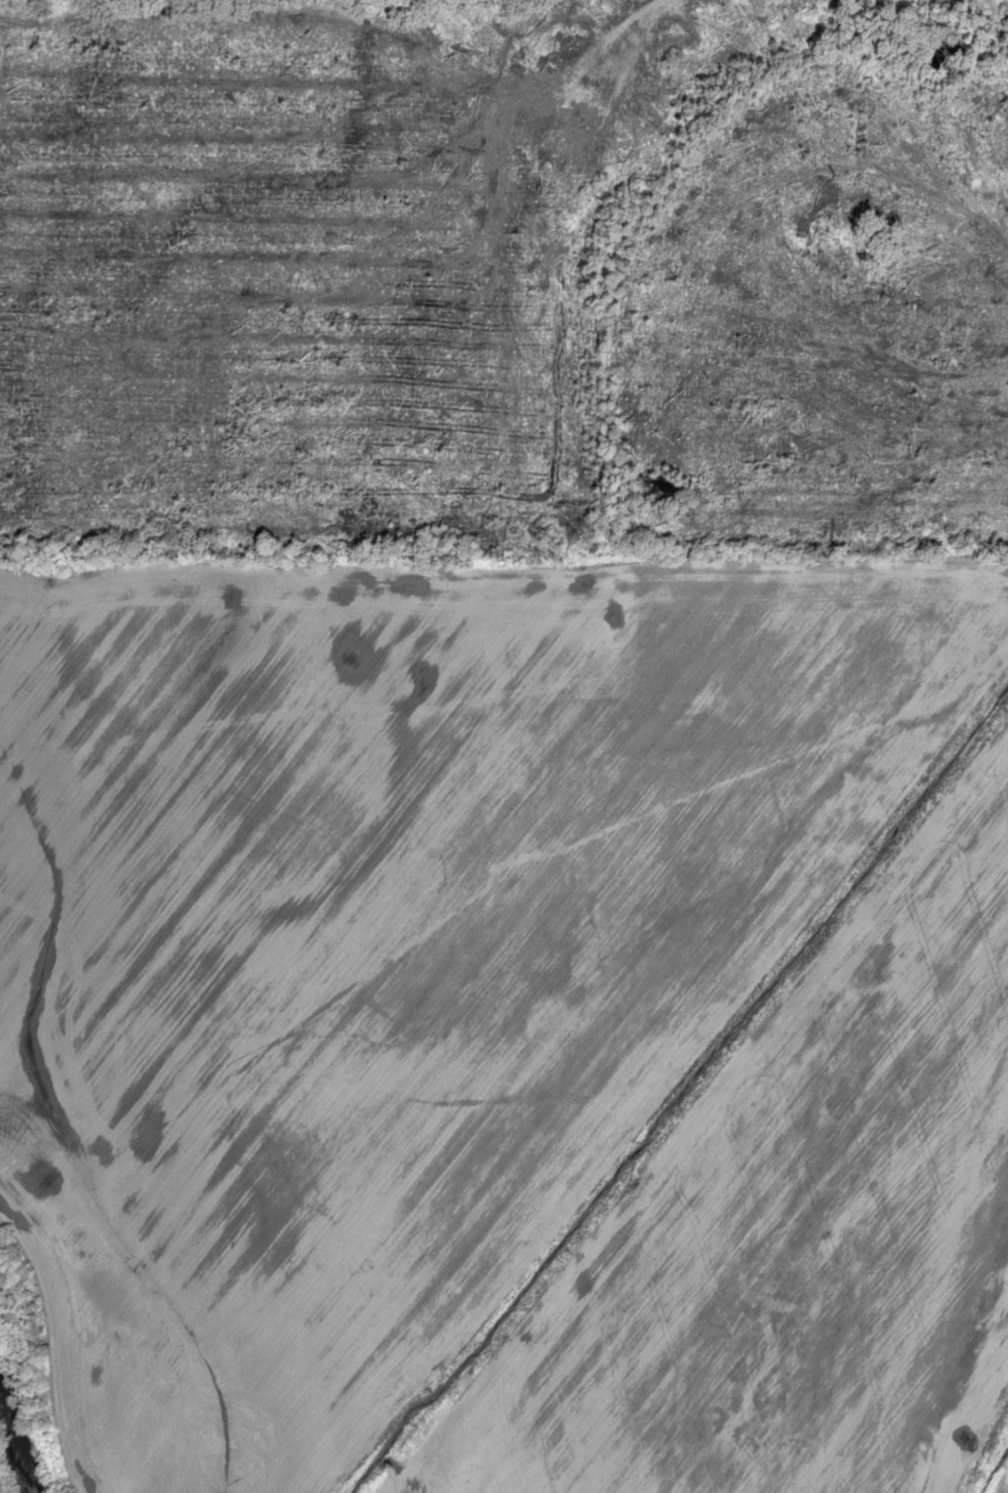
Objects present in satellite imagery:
river: (19, 1441)

